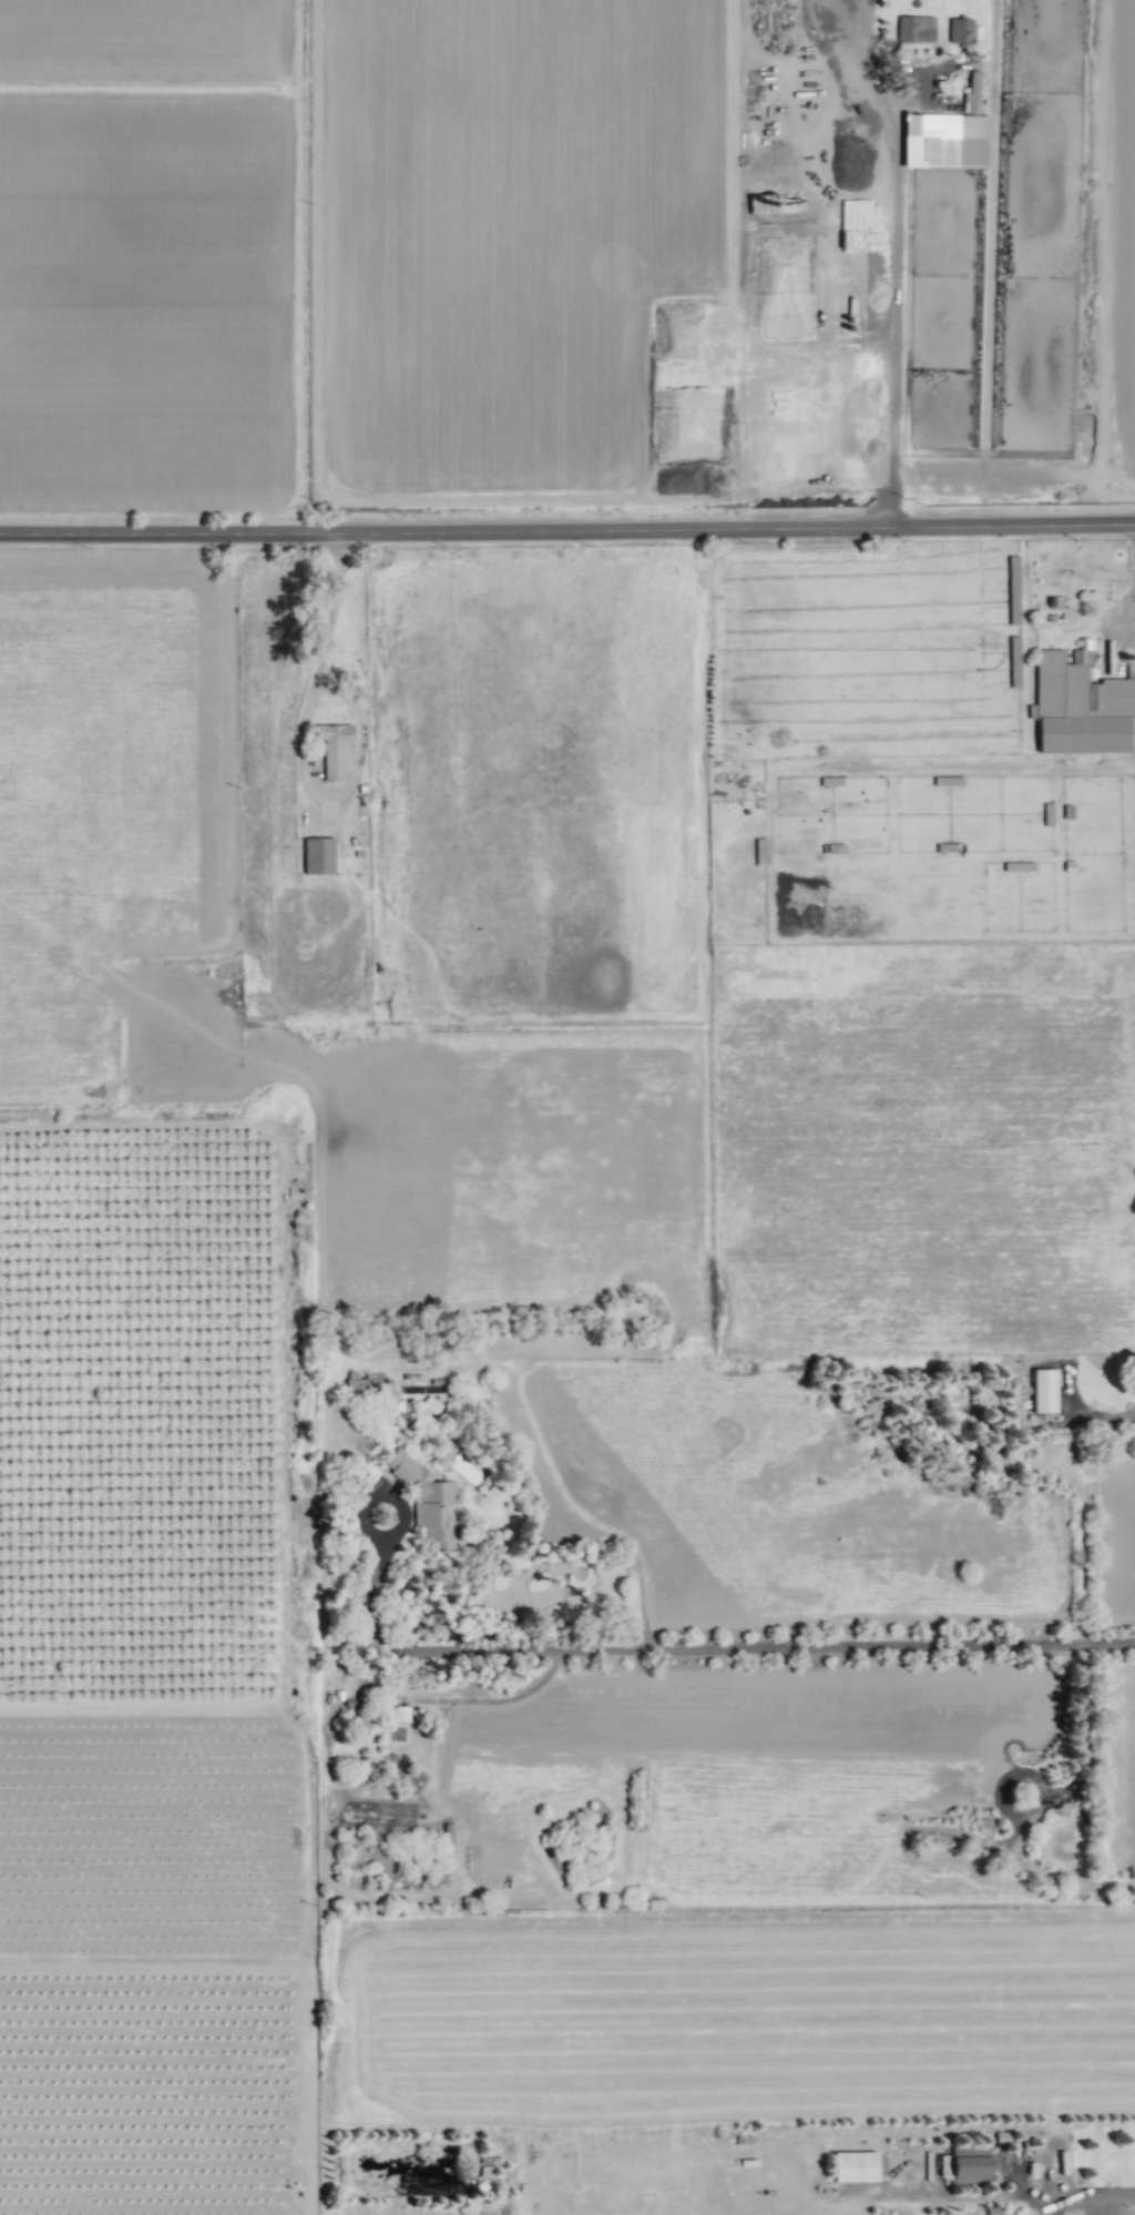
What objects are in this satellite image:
building: (916, 29)
building: (961, 30)
building: (948, 135)
road: (894, 258)
road: (567, 532)
road: (314, 653)
building: (1082, 704)
building: (334, 749)
building: (318, 855)
building: (362, 1388)
building: (1043, 1390)
building: (443, 1454)
building: (426, 1501)
road: (697, 1647)
building: (401, 1713)
building: (970, 2164)
building: (855, 2166)
road: (990, 2197)

